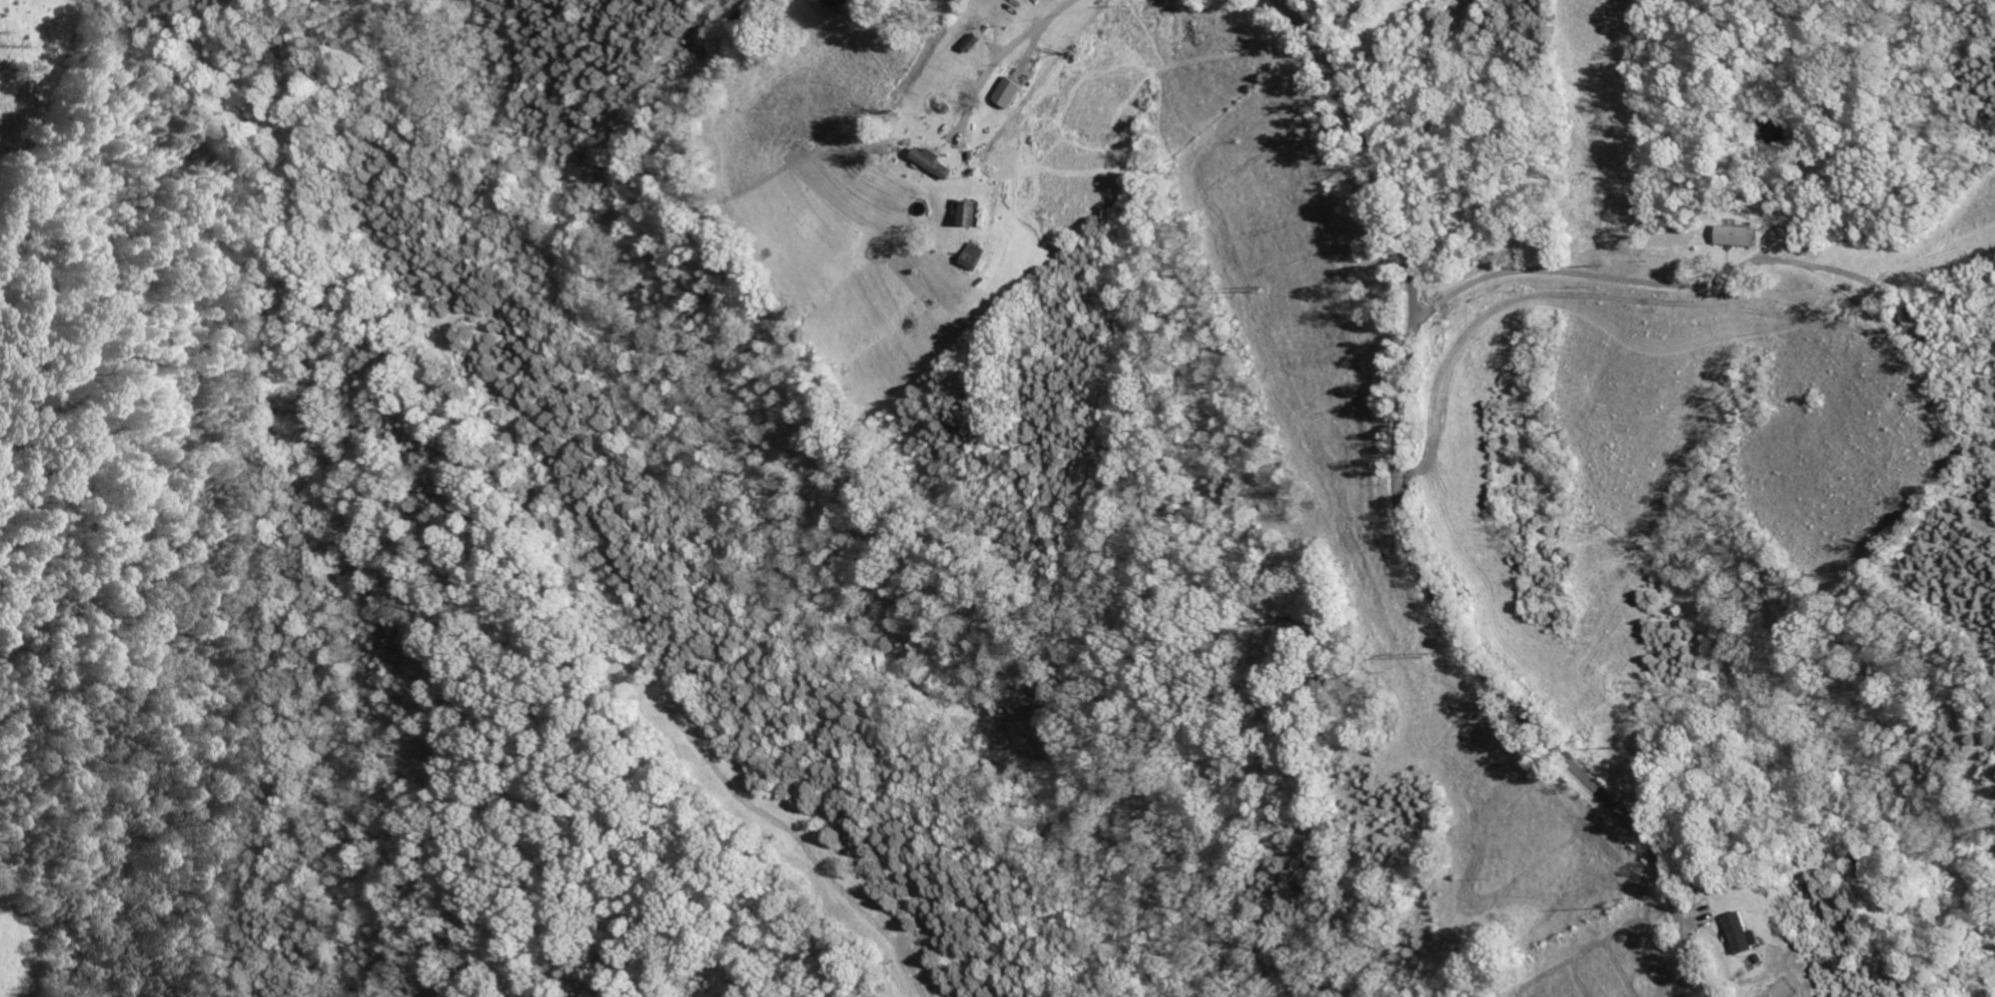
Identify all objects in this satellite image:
road: (1002, 58)
building: (1015, 92)
building: (936, 162)
building: (978, 214)
building: (1742, 236)
building: (978, 257)
road: (1637, 282)
road: (1405, 530)
building: (1748, 933)

